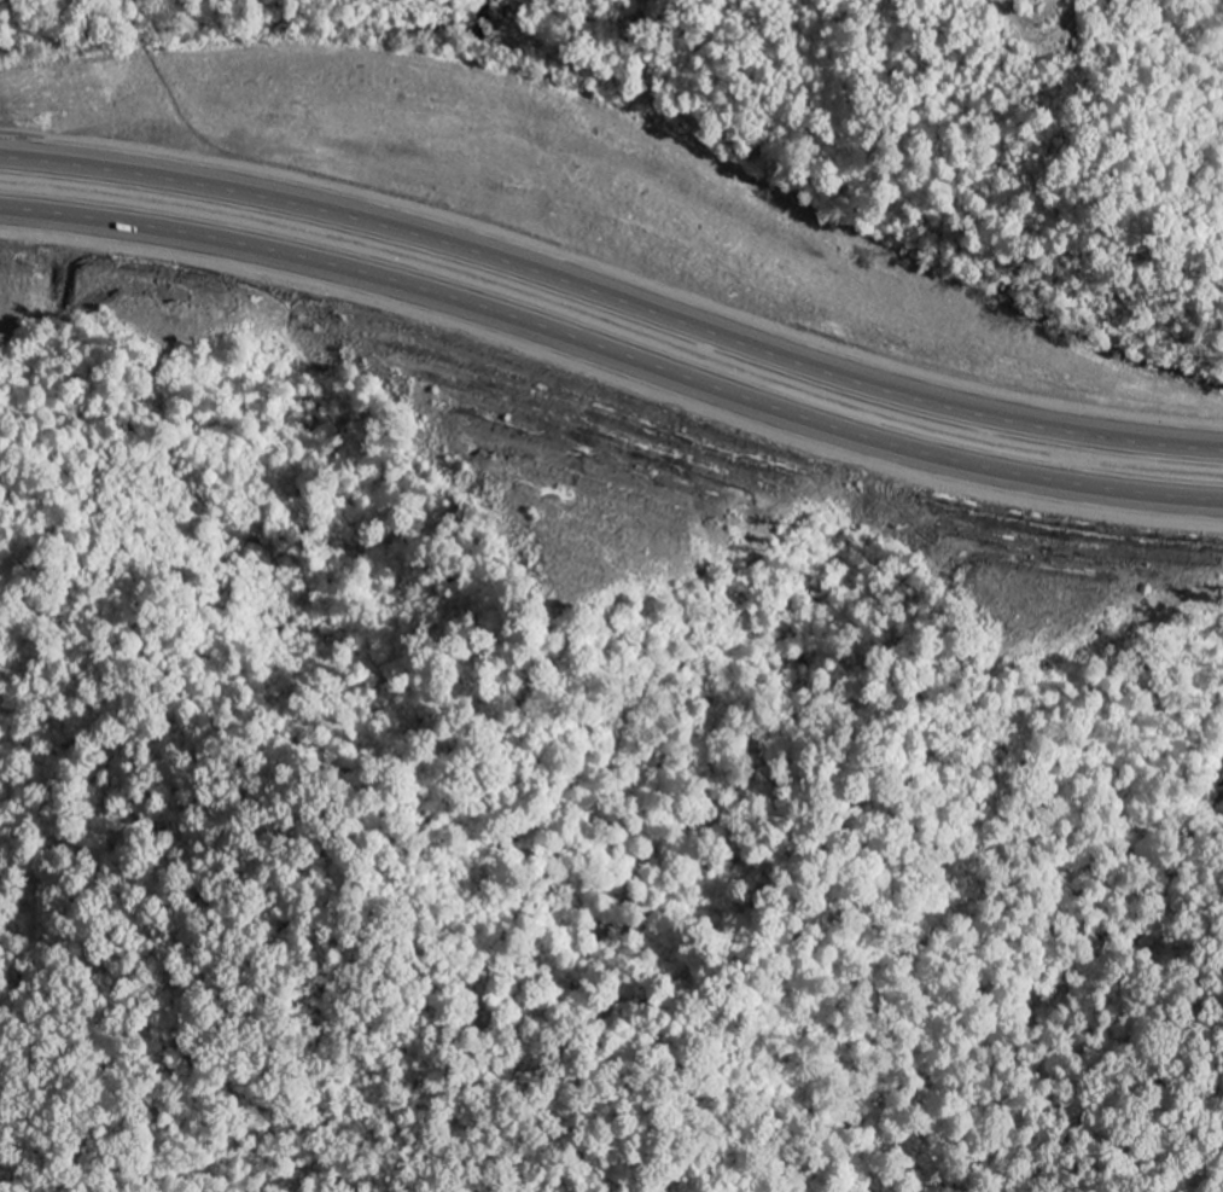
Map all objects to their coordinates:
road: (613, 298)
road: (613, 350)

